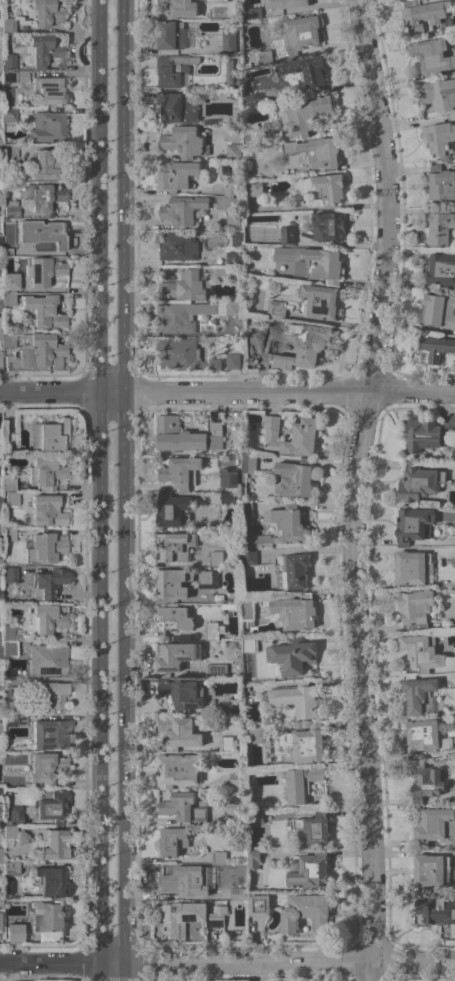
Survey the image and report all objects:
building: (216, 1)
building: (285, 3)
road: (308, 6)
building: (180, 8)
building: (46, 12)
building: (254, 13)
building: (424, 14)
building: (8, 25)
building: (300, 33)
building: (171, 35)
building: (228, 42)
road: (171, 51)
building: (45, 52)
building: (432, 55)
building: (262, 56)
building: (8, 62)
building: (173, 69)
building: (230, 70)
building: (307, 72)
building: (14, 77)
building: (49, 90)
building: (438, 93)
building: (254, 98)
building: (176, 107)
building: (301, 114)
building: (9, 115)
building: (47, 127)
building: (439, 137)
building: (251, 140)
building: (184, 141)
building: (0, 149)
building: (10, 151)
building: (234, 151)
building: (317, 151)
building: (46, 165)
building: (176, 175)
building: (441, 182)
building: (323, 186)
building: (232, 188)
building: (255, 188)
road: (198, 190)
road: (146, 191)
road: (173, 191)
road: (124, 193)
road: (99, 194)
road: (383, 194)
building: (43, 197)
building: (194, 207)
building: (0, 209)
building: (10, 209)
building: (232, 218)
building: (328, 225)
building: (441, 228)
building: (288, 233)
building: (42, 235)
building: (236, 239)
building: (0, 240)
building: (178, 246)
building: (6, 252)
building: (232, 257)
road: (173, 261)
building: (313, 261)
building: (441, 269)
building: (42, 271)
building: (219, 271)
building: (0, 272)
building: (9, 282)
building: (186, 286)
building: (8, 299)
building: (320, 301)
building: (0, 302)
building: (276, 309)
building: (438, 310)
building: (43, 311)
building: (191, 314)
building: (0, 332)
building: (304, 345)
building: (436, 347)
building: (33, 352)
building: (184, 355)
building: (233, 361)
building: (0, 364)
road: (227, 388)
building: (304, 433)
building: (428, 433)
building: (48, 435)
building: (186, 435)
building: (10, 439)
building: (453, 456)
building: (0, 470)
building: (246, 470)
building: (180, 471)
building: (45, 473)
building: (294, 477)
building: (228, 478)
building: (8, 482)
building: (419, 483)
building: (11, 498)
building: (227, 498)
building: (172, 509)
building: (46, 511)
building: (246, 511)
building: (414, 525)
building: (284, 526)
building: (0, 531)
building: (8, 535)
building: (176, 545)
building: (44, 548)
building: (216, 556)
building: (250, 556)
building: (0, 563)
building: (214, 566)
building: (412, 566)
building: (293, 571)
building: (10, 574)
building: (207, 576)
building: (48, 582)
building: (173, 583)
building: (0, 594)
building: (417, 608)
building: (247, 610)
building: (294, 611)
building: (175, 617)
building: (45, 619)
building: (213, 630)
building: (9, 632)
building: (250, 646)
building: (9, 648)
building: (422, 652)
building: (0, 654)
building: (292, 654)
building: (175, 656)
building: (46, 658)
building: (194, 668)
building: (216, 670)
road: (99, 684)
road: (124, 684)
road: (364, 684)
building: (246, 686)
building: (0, 687)
building: (53, 694)
building: (182, 694)
building: (419, 694)
building: (0, 698)
building: (297, 698)
building: (247, 699)
building: (12, 707)
building: (228, 708)
building: (14, 720)
building: (1, 729)
building: (179, 732)
building: (48, 734)
building: (255, 734)
building: (422, 735)
building: (305, 742)
building: (226, 743)
building: (45, 768)
building: (177, 769)
building: (250, 772)
building: (236, 779)
building: (454, 782)
building: (301, 783)
building: (427, 783)
building: (0, 794)
building: (235, 798)
building: (52, 807)
building: (183, 807)
building: (12, 815)
building: (256, 816)
building: (1, 822)
building: (435, 825)
building: (312, 829)
building: (20, 830)
building: (10, 832)
building: (173, 840)
building: (53, 845)
building: (0, 855)
building: (219, 856)
building: (253, 858)
building: (244, 864)
building: (9, 868)
building: (313, 869)
building: (432, 870)
building: (51, 881)
building: (184, 881)
building: (239, 893)
building: (0, 904)
building: (260, 905)
building: (436, 909)
building: (305, 912)
building: (50, 915)
building: (189, 916)
building: (13, 932)
road: (227, 960)

